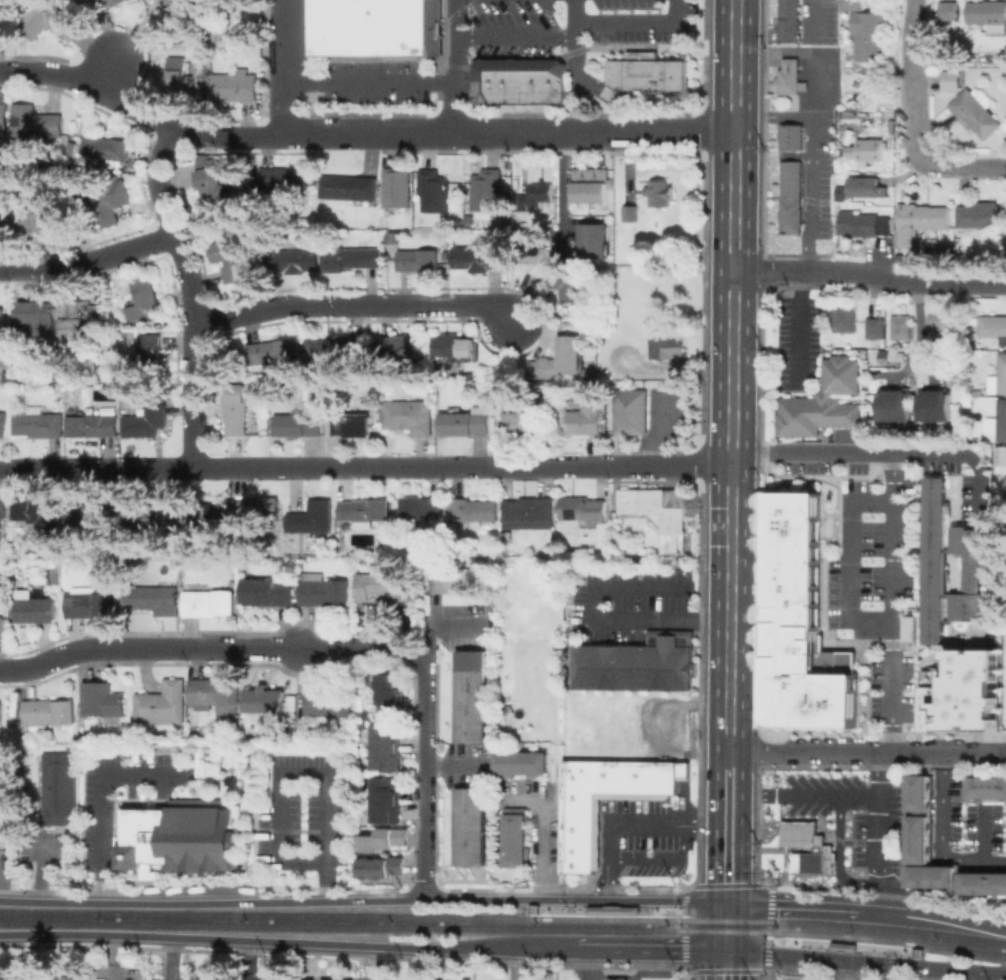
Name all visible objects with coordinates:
building: (89, 1)
building: (115, 3)
building: (853, 4)
building: (179, 7)
building: (949, 10)
building: (988, 13)
road: (806, 16)
road: (575, 18)
building: (49, 19)
road: (634, 19)
building: (789, 20)
parking lot: (572, 23)
building: (4, 27)
building: (375, 27)
building: (868, 33)
road: (516, 35)
building: (985, 53)
building: (1003, 56)
road: (458, 65)
road: (280, 67)
road: (575, 70)
road: (5, 72)
road: (109, 72)
building: (179, 72)
building: (644, 72)
building: (789, 76)
road: (915, 78)
building: (485, 79)
building: (954, 79)
road: (370, 80)
building: (510, 80)
building: (532, 80)
building: (552, 80)
building: (203, 81)
parking lot: (374, 81)
building: (235, 85)
road: (95, 88)
road: (607, 95)
road: (628, 111)
building: (977, 111)
building: (4, 115)
building: (856, 115)
building: (33, 121)
road: (556, 131)
road: (282, 133)
road: (347, 133)
road: (210, 135)
building: (792, 136)
building: (106, 148)
building: (868, 149)
road: (811, 155)
road: (961, 166)
building: (283, 179)
building: (592, 184)
building: (866, 185)
road: (560, 187)
building: (349, 188)
building: (398, 188)
building: (217, 190)
building: (487, 191)
building: (659, 192)
building: (435, 193)
building: (839, 194)
building: (537, 195)
building: (791, 196)
building: (108, 199)
building: (630, 213)
building: (38, 215)
building: (982, 215)
building: (304, 220)
building: (3, 221)
building: (919, 222)
building: (863, 223)
road: (176, 229)
building: (393, 236)
building: (595, 241)
building: (446, 254)
building: (231, 257)
building: (353, 258)
building: (478, 258)
building: (301, 259)
road: (98, 260)
building: (418, 260)
road: (8, 269)
road: (780, 271)
building: (569, 283)
road: (916, 284)
building: (144, 301)
road: (354, 305)
building: (39, 316)
building: (78, 316)
building: (2, 317)
building: (845, 317)
building: (946, 323)
building: (992, 325)
road: (797, 327)
building: (876, 327)
building: (901, 327)
building: (454, 345)
building: (400, 346)
building: (667, 346)
building: (335, 348)
building: (151, 350)
building: (273, 352)
building: (884, 354)
building: (562, 359)
building: (590, 372)
road: (731, 376)
building: (998, 376)
building: (63, 392)
building: (980, 392)
road: (194, 401)
building: (824, 401)
building: (895, 404)
building: (937, 405)
building: (236, 408)
building: (632, 412)
building: (409, 415)
building: (576, 417)
building: (1002, 419)
building: (146, 421)
building: (465, 421)
building: (38, 422)
building: (520, 422)
building: (2, 423)
building: (93, 424)
building: (298, 424)
building: (352, 424)
road: (810, 451)
building: (1002, 456)
road: (957, 457)
road: (660, 464)
road: (294, 467)
road: (889, 476)
building: (1004, 487)
building: (421, 507)
building: (582, 507)
building: (257, 508)
building: (365, 510)
building: (473, 510)
building: (3, 511)
building: (529, 512)
building: (38, 513)
building: (99, 513)
building: (660, 513)
building: (202, 514)
building: (148, 515)
building: (313, 517)
road: (848, 557)
road: (889, 557)
building: (937, 561)
building: (970, 572)
building: (452, 579)
building: (386, 584)
building: (324, 589)
building: (269, 592)
building: (155, 597)
building: (88, 602)
building: (209, 602)
building: (35, 609)
road: (601, 618)
building: (1, 625)
building: (906, 627)
building: (807, 628)
road: (193, 646)
road: (399, 649)
road: (418, 655)
building: (639, 665)
road: (889, 668)
road: (425, 691)
building: (214, 692)
building: (961, 693)
building: (389, 694)
building: (469, 696)
building: (103, 699)
building: (266, 700)
building: (162, 703)
building: (329, 704)
building: (1, 711)
building: (48, 712)
building: (126, 730)
road: (889, 737)
building: (387, 747)
road: (425, 747)
road: (867, 752)
building: (521, 762)
road: (302, 773)
building: (59, 787)
building: (988, 789)
building: (920, 794)
road: (425, 797)
road: (800, 797)
building: (387, 799)
road: (102, 800)
building: (199, 803)
building: (124, 818)
road: (425, 822)
road: (630, 824)
building: (471, 826)
road: (727, 827)
road: (873, 831)
building: (582, 834)
road: (936, 837)
building: (180, 838)
building: (383, 839)
building: (921, 839)
building: (516, 840)
building: (123, 841)
building: (809, 846)
road: (665, 861)
road: (425, 863)
building: (380, 867)
building: (150, 868)
building: (932, 875)
building: (984, 882)
road: (569, 896)
road: (363, 901)
traffic signals: (727, 903)
railway: (527, 905)
road: (867, 908)
road: (623, 910)
road: (726, 913)
railway: (264, 914)
railway: (603, 918)
railway: (725, 919)
railway: (339, 925)
road: (684, 927)
railway: (890, 927)
road: (768, 929)
railway: (726, 930)
railway: (849, 936)
road: (726, 939)
road: (287, 942)
road: (831, 944)
railway: (965, 949)
road: (651, 952)
traffic signals: (726, 953)
railway: (921, 957)
road: (169, 959)
road: (375, 963)
road: (866, 963)
road: (412, 964)
road: (512, 964)
road: (726, 966)
road: (888, 966)
building: (620, 969)
road: (860, 971)
road: (974, 976)
building: (53, 977)
building: (208, 978)
building: (310, 979)
road: (613, 979)
building: (616, 979)

